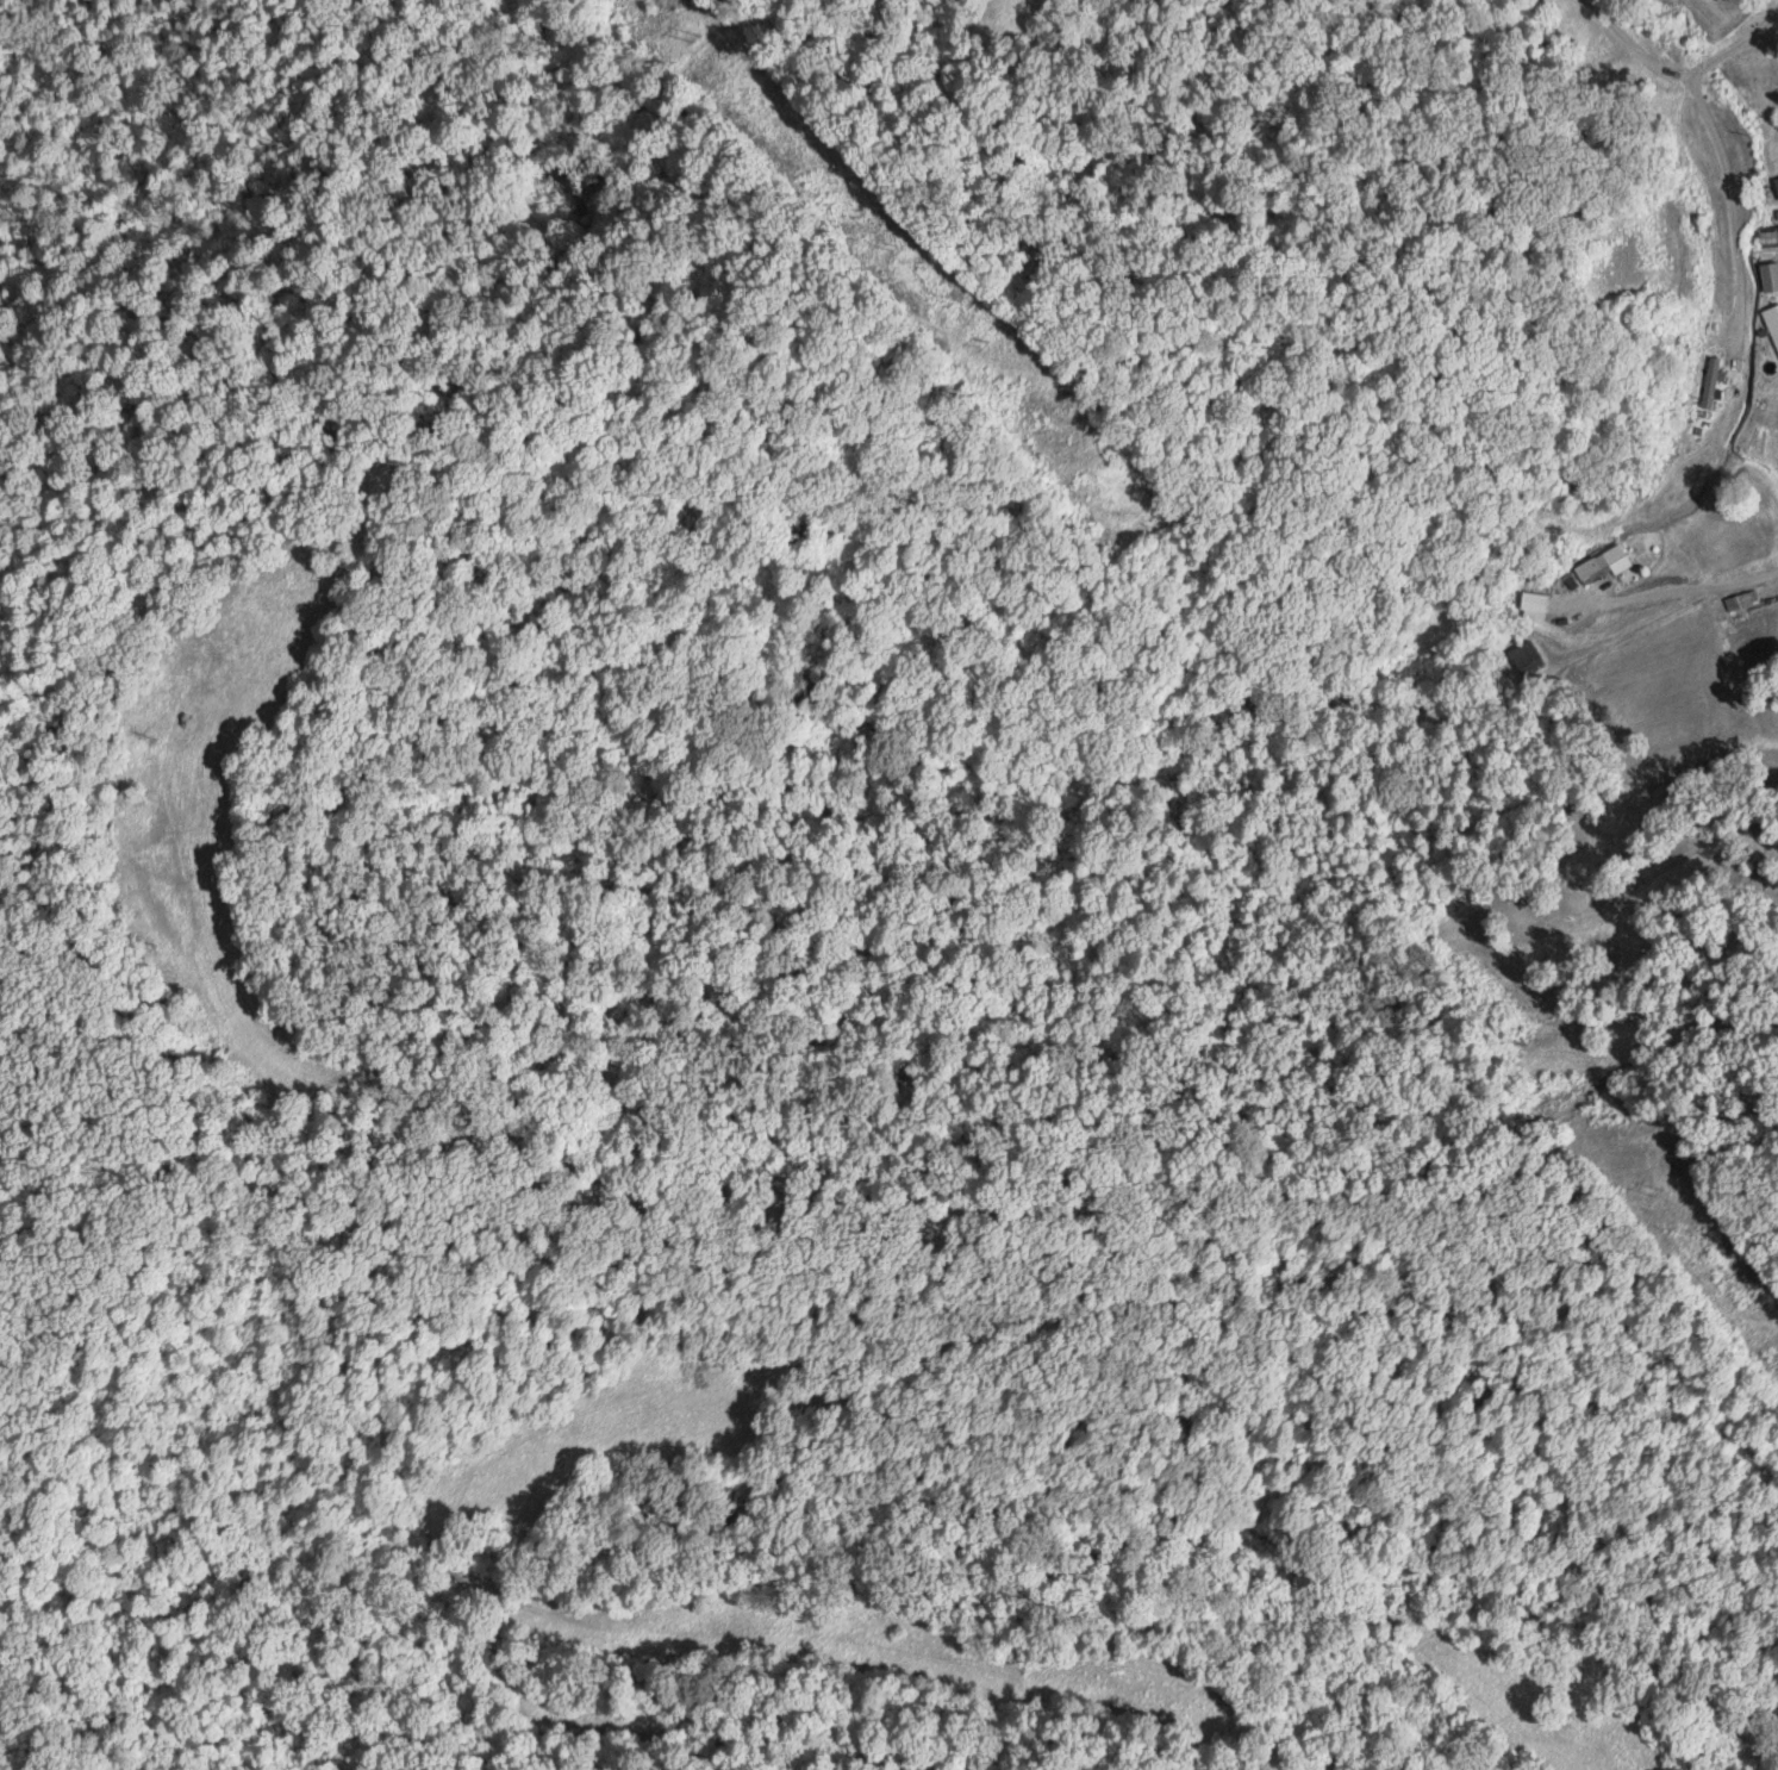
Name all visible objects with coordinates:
building: (1776, 176)
building: (1768, 235)
building: (1709, 381)
building: (1604, 565)

